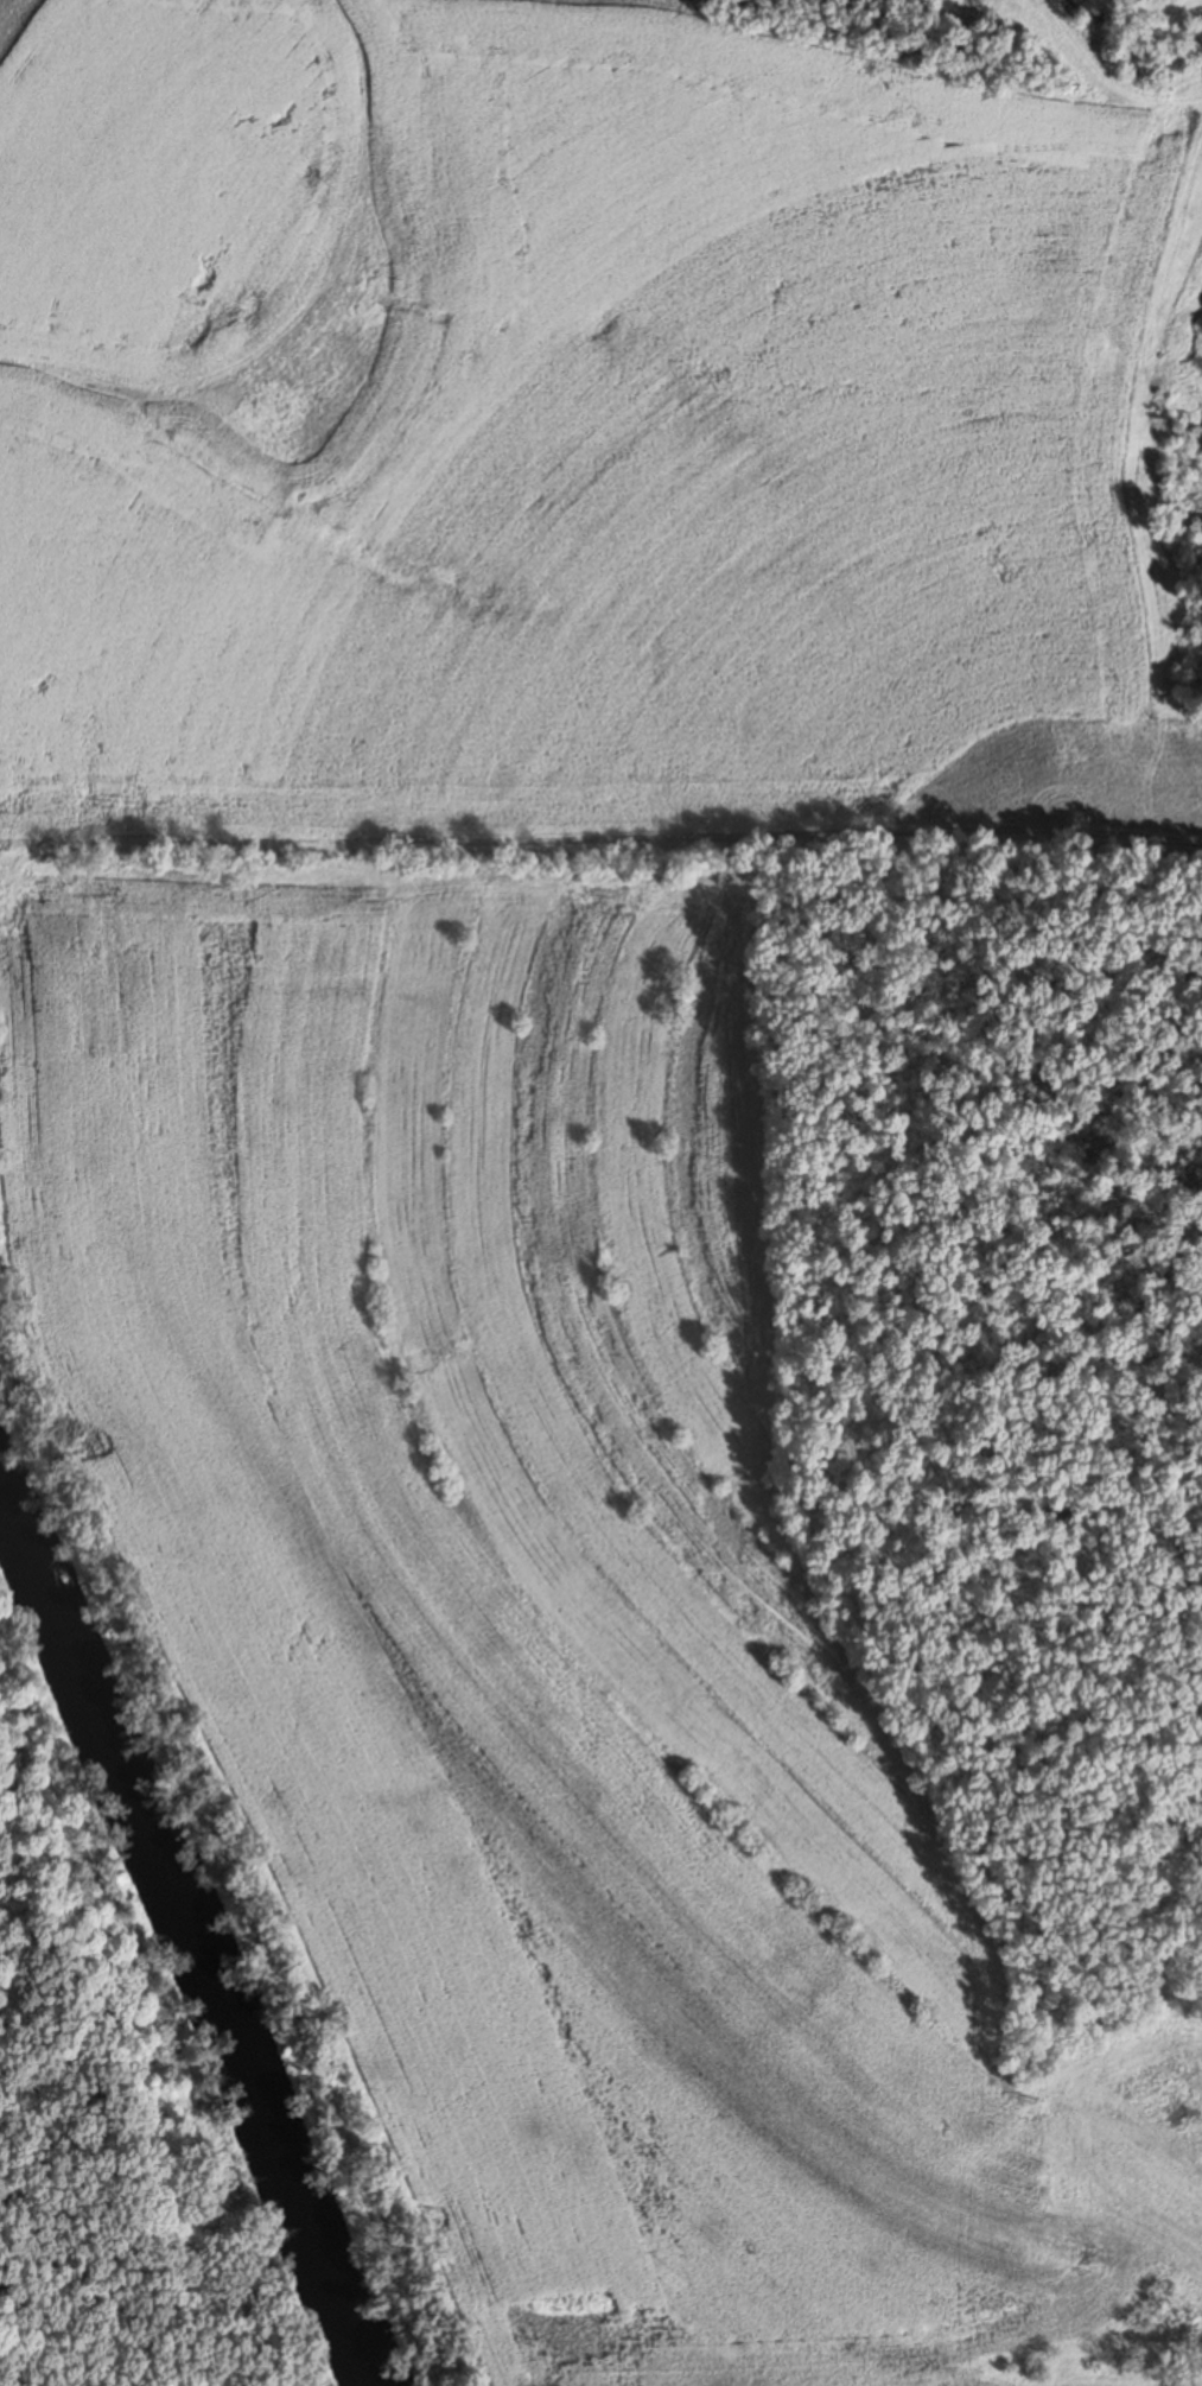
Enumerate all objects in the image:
river: (203, 1973)

